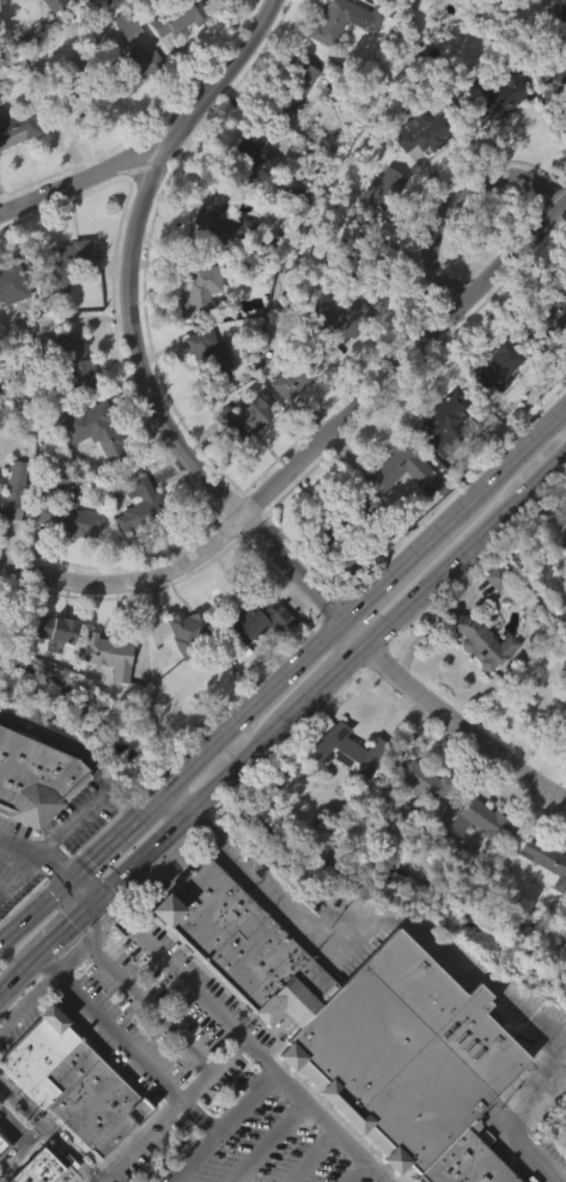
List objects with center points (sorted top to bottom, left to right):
building: (12, 10)
building: (559, 10)
building: (217, 12)
building: (427, 13)
building: (181, 16)
building: (349, 18)
building: (129, 24)
building: (45, 35)
building: (556, 54)
building: (174, 59)
building: (335, 61)
building: (138, 68)
building: (81, 87)
building: (294, 87)
building: (556, 90)
building: (498, 92)
building: (134, 111)
building: (20, 124)
building: (427, 129)
building: (287, 132)
building: (493, 139)
building: (251, 146)
building: (16, 167)
building: (413, 175)
road: (84, 178)
building: (382, 190)
building: (247, 193)
road: (455, 197)
building: (220, 218)
building: (378, 230)
building: (363, 257)
building: (213, 261)
building: (68, 263)
building: (13, 282)
building: (201, 288)
building: (66, 303)
building: (552, 321)
road: (133, 322)
building: (343, 323)
building: (10, 328)
building: (194, 329)
building: (547, 357)
building: (73, 358)
building: (212, 358)
building: (499, 362)
building: (340, 365)
building: (298, 373)
building: (201, 392)
building: (66, 400)
building: (493, 407)
road: (564, 415)
building: (291, 416)
building: (245, 419)
building: (448, 421)
building: (106, 434)
road: (310, 450)
building: (436, 457)
building: (239, 461)
road: (510, 461)
building: (404, 469)
building: (98, 471)
building: (13, 492)
building: (68, 510)
building: (397, 511)
building: (10, 530)
building: (565, 536)
building: (336, 542)
building: (133, 544)
road: (464, 550)
building: (61, 552)
building: (564, 555)
road: (397, 565)
building: (560, 572)
building: (561, 583)
building: (491, 619)
building: (261, 620)
building: (60, 628)
building: (191, 630)
road: (352, 630)
building: (480, 641)
building: (105, 653)
building: (252, 663)
building: (182, 669)
building: (50, 670)
road: (328, 677)
road: (406, 680)
building: (477, 683)
building: (540, 690)
building: (103, 696)
road: (236, 715)
building: (537, 735)
road: (60, 742)
building: (343, 750)
road: (506, 758)
building: (37, 779)
building: (425, 781)
building: (272, 785)
building: (340, 792)
road: (174, 798)
road: (123, 799)
road: (189, 805)
building: (31, 820)
road: (75, 820)
building: (481, 820)
building: (273, 821)
building: (416, 823)
road: (99, 847)
road: (37, 852)
building: (546, 859)
building: (471, 860)
traffic signals: (54, 867)
road: (20, 876)
road: (96, 877)
road: (2, 886)
road: (77, 890)
building: (540, 901)
traffic signals: (109, 909)
road: (32, 910)
road: (97, 924)
road: (63, 926)
road: (445, 945)
building: (565, 945)
road: (26, 962)
road: (7, 980)
road: (41, 985)
road: (147, 1005)
building: (367, 1030)
road: (238, 1036)
road: (156, 1077)
building: (68, 1082)
building: (0, 1101)
road: (244, 1103)
building: (4, 1143)
road: (118, 1158)
building: (37, 1168)
building: (1, 1180)

